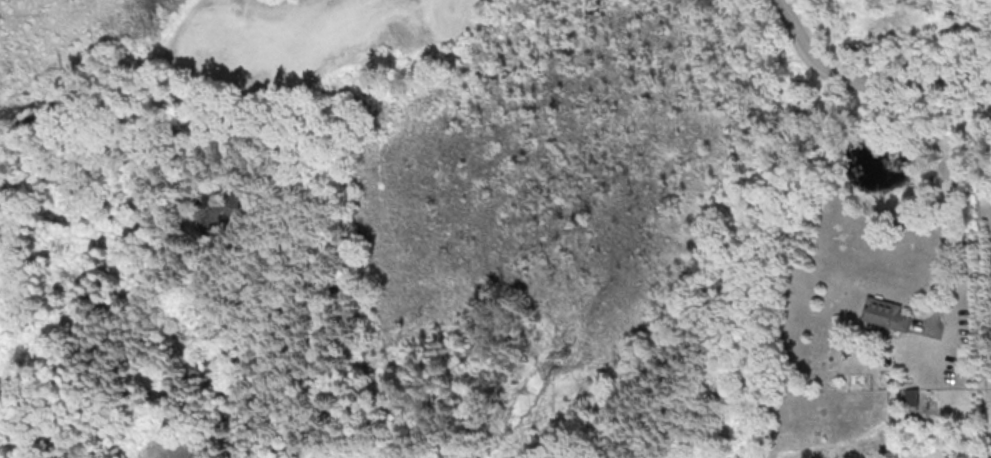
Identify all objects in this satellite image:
park: (457, 47)
road: (867, 81)
road: (948, 197)
building: (886, 313)
building: (910, 396)

